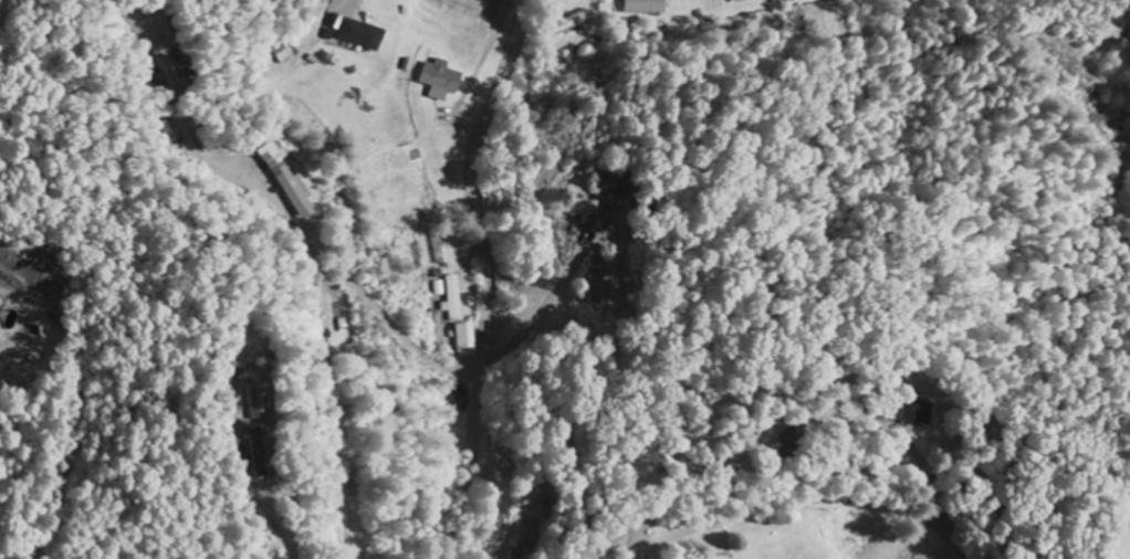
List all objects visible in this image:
building: (743, 0)
building: (646, 8)
building: (357, 33)
building: (285, 54)
building: (443, 77)
building: (292, 183)
road: (488, 276)
building: (604, 288)
building: (456, 299)
building: (0, 304)
building: (262, 402)
building: (917, 415)
road: (810, 503)

